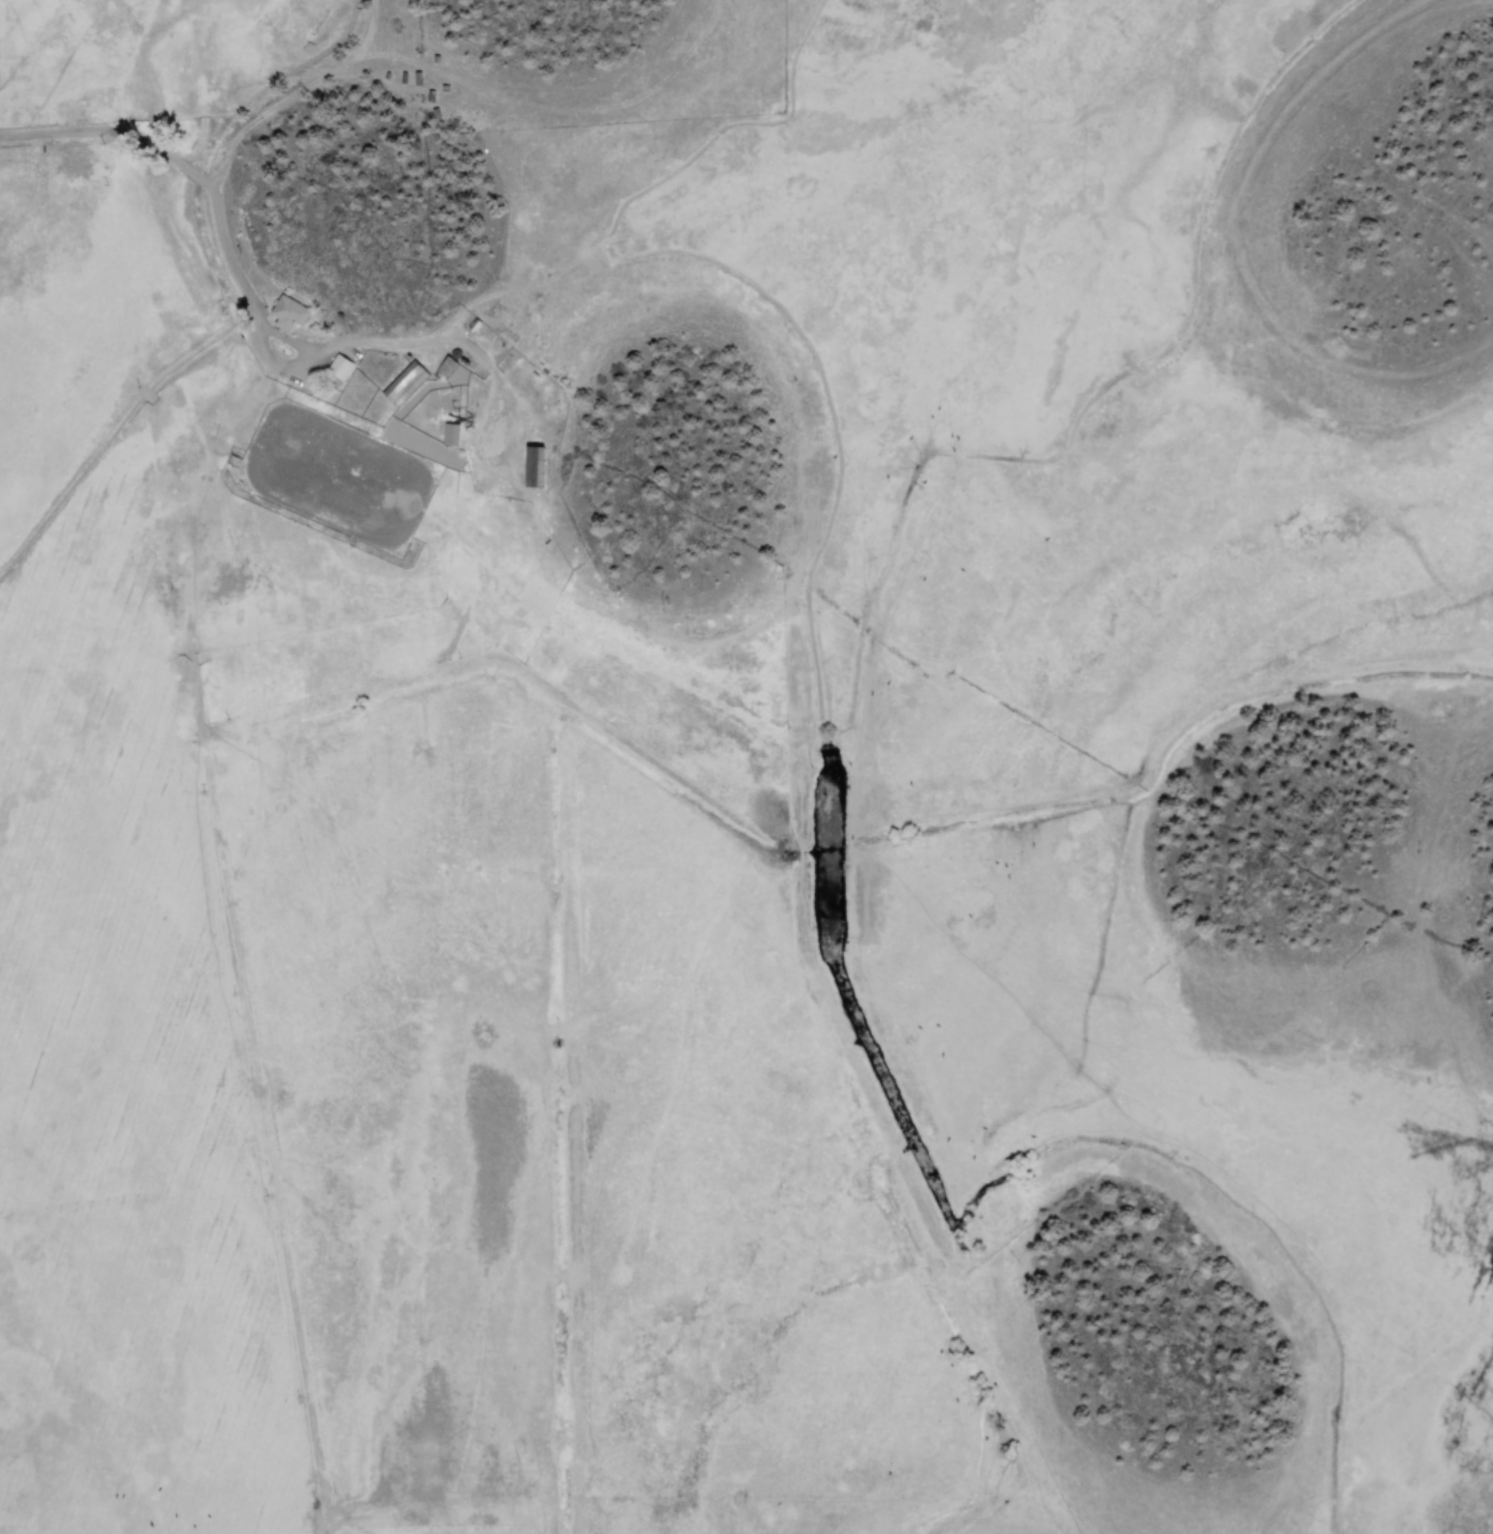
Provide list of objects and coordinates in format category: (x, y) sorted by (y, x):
road: (167, 152)
building: (285, 313)
building: (334, 369)
building: (402, 384)
building: (448, 434)
building: (529, 466)

